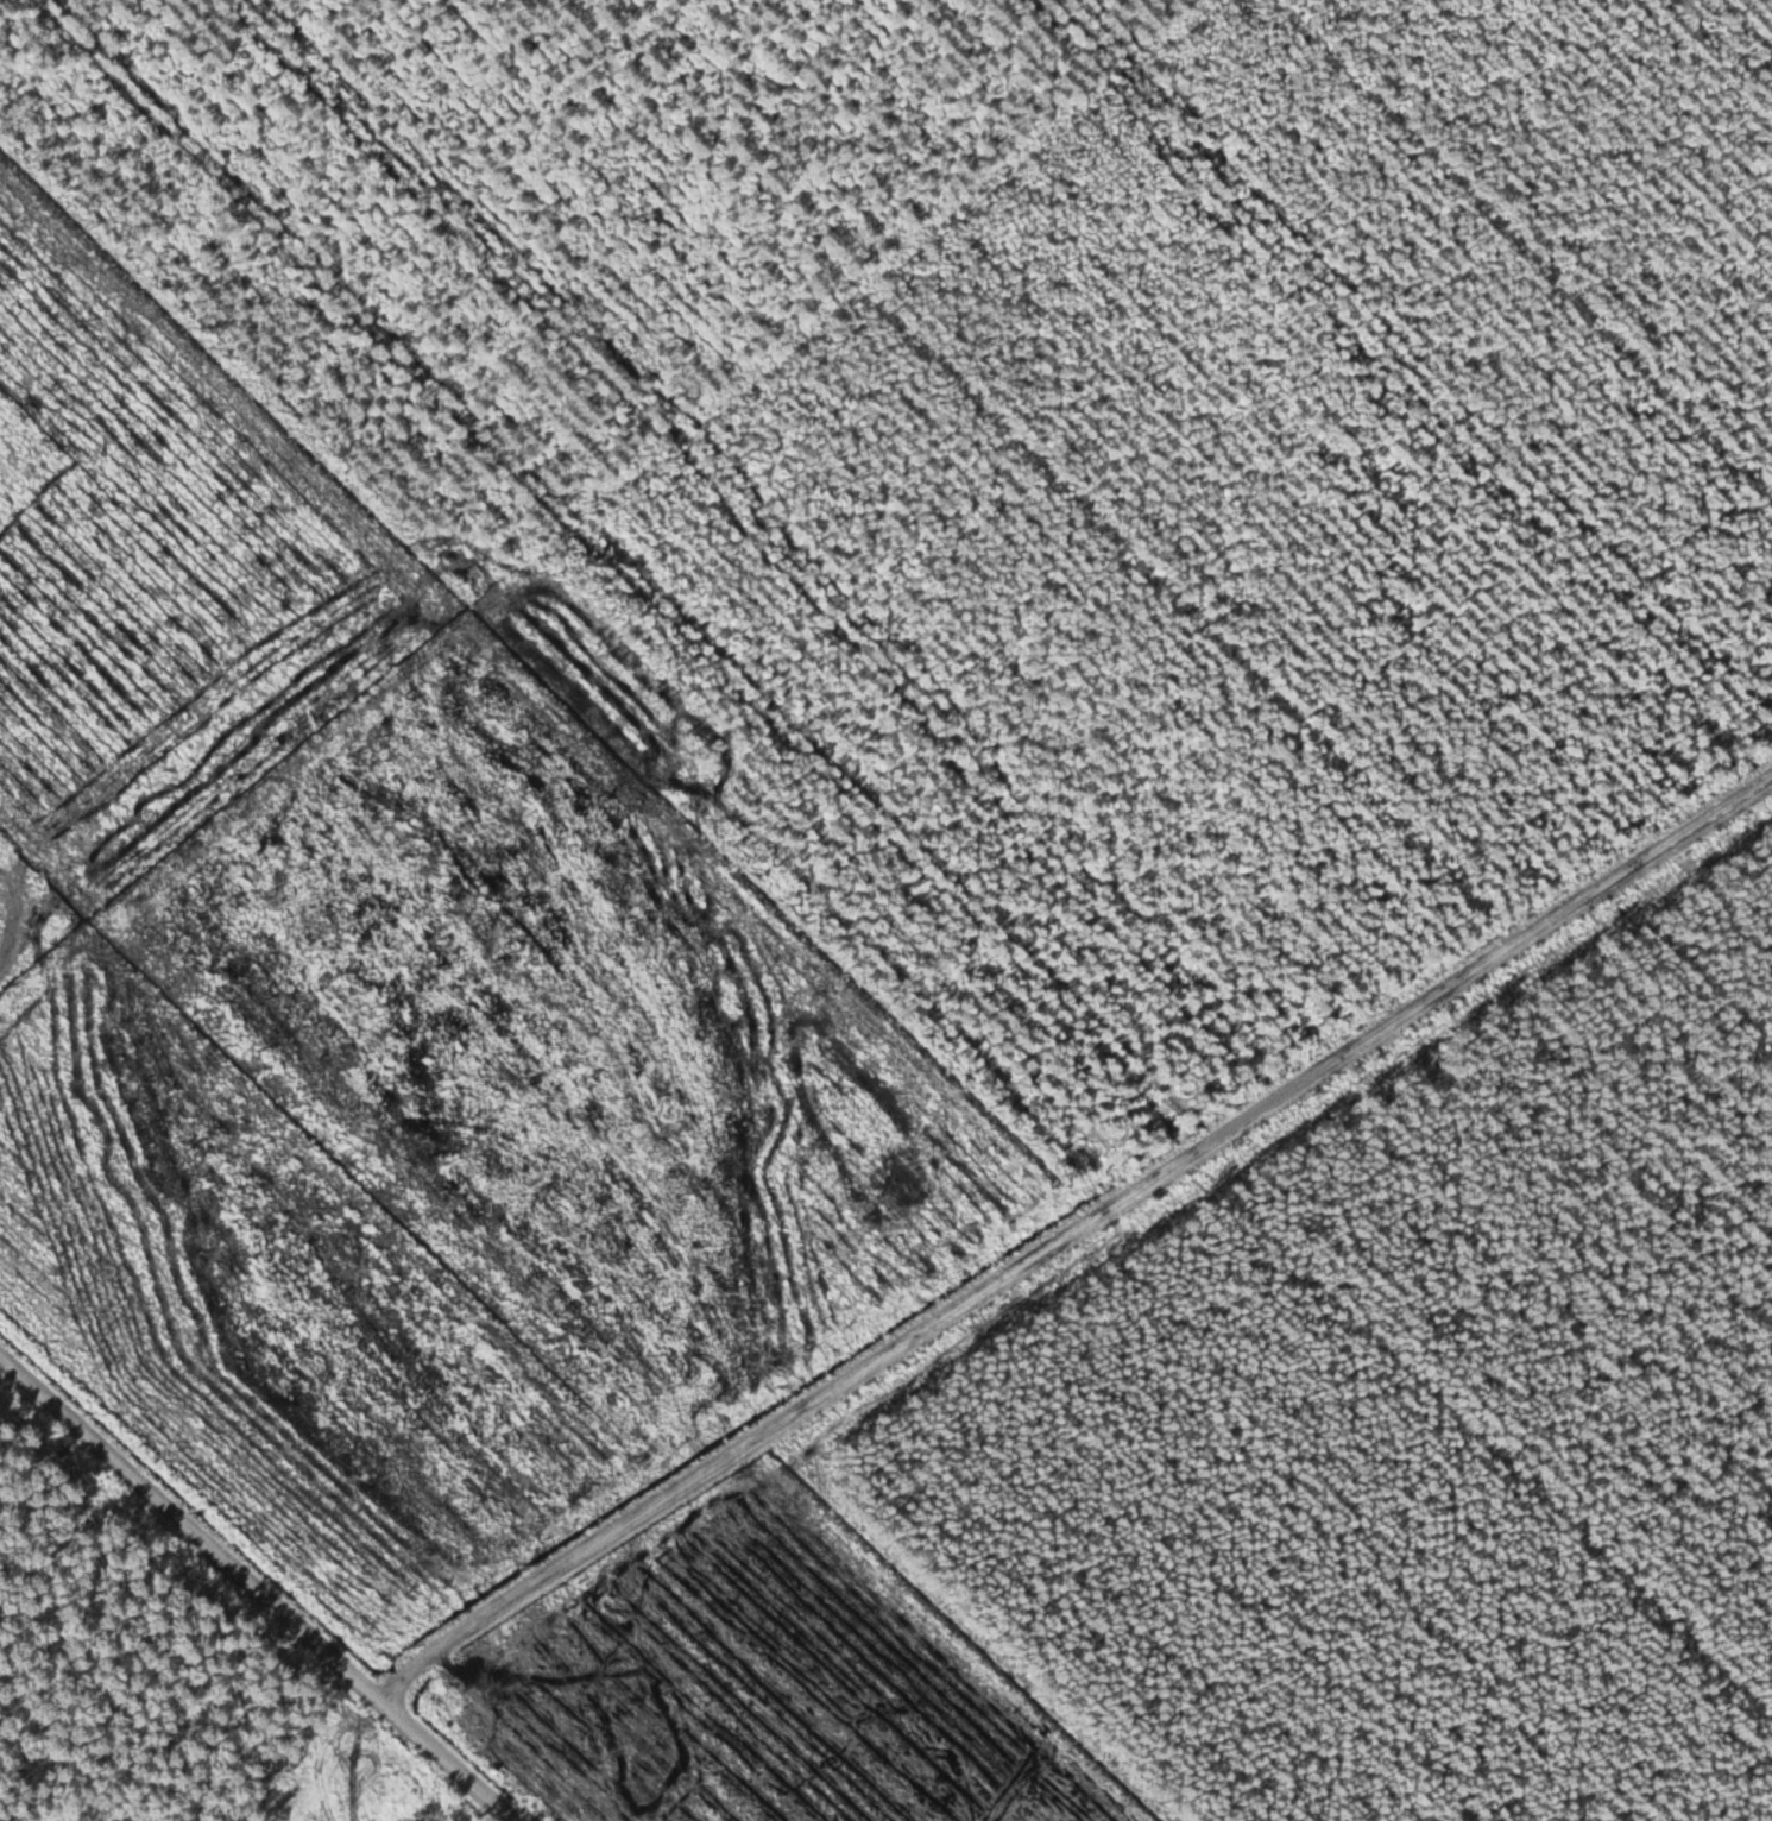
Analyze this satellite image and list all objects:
road: (1073, 1230)
road: (259, 1586)

